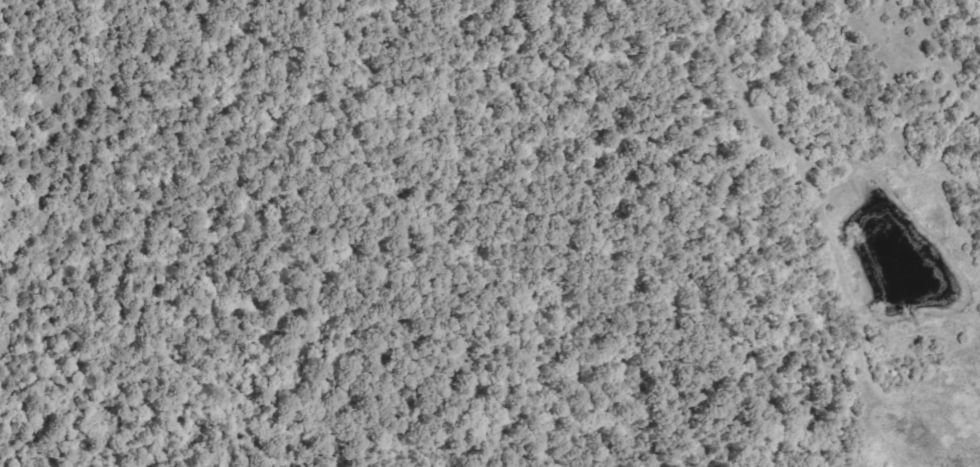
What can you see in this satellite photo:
road: (834, 224)

